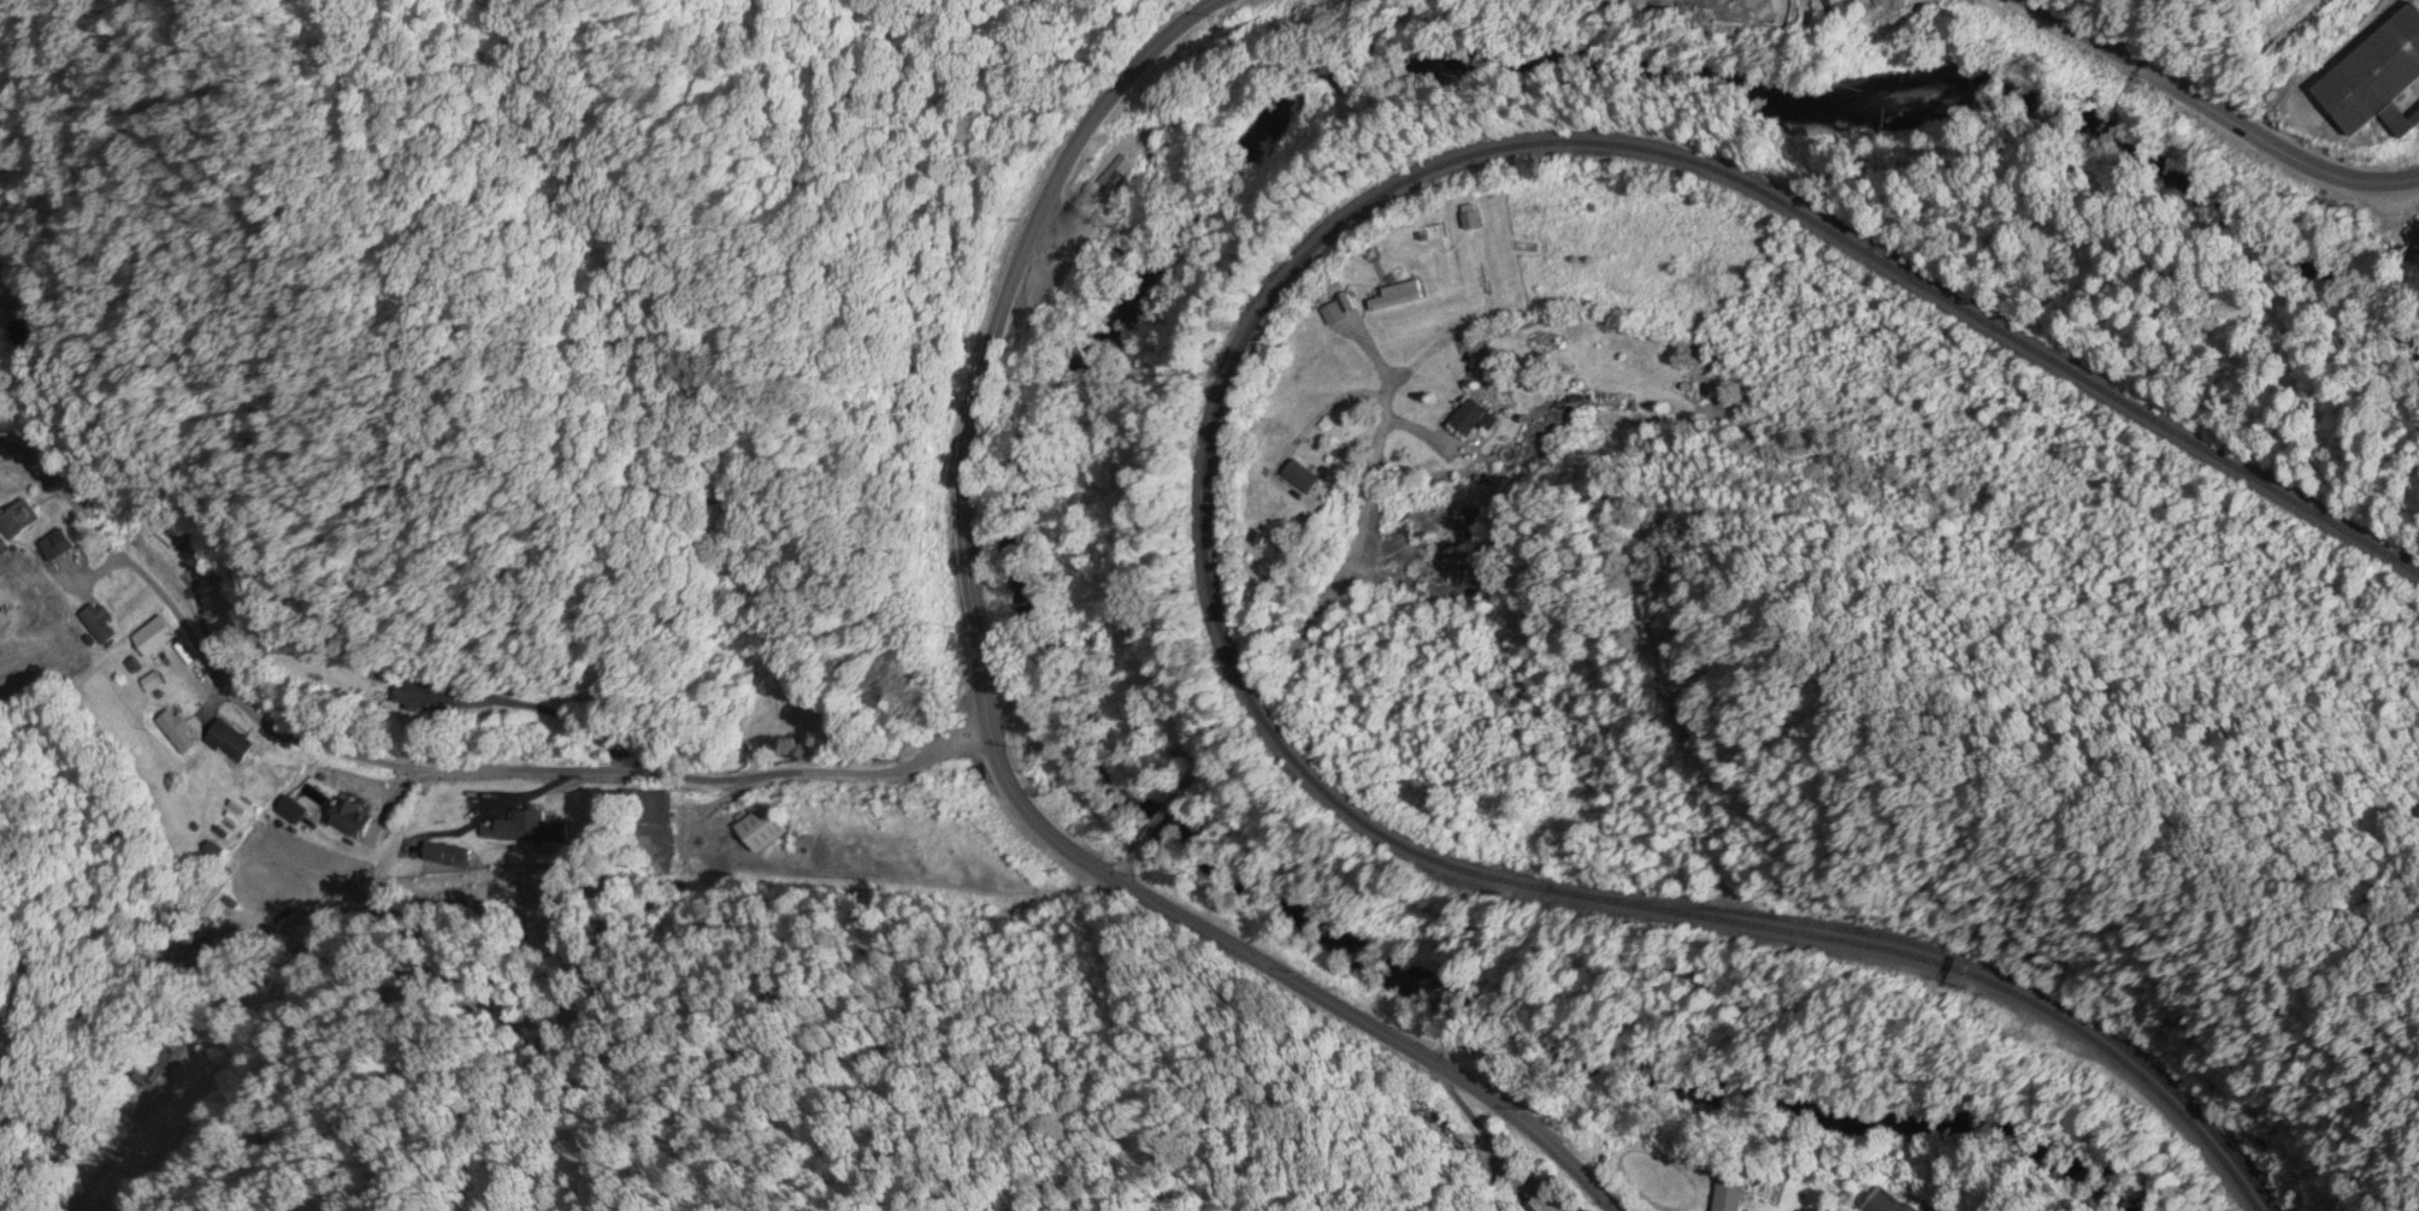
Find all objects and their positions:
building: (2377, 79)
road: (2214, 111)
building: (6, 234)
building: (1393, 299)
building: (43, 329)
road: (1320, 407)
building: (1473, 420)
railway: (1211, 432)
road: (1371, 455)
building: (1300, 478)
building: (16, 521)
building: (54, 548)
road: (1337, 580)
building: (96, 626)
building: (433, 697)
road: (990, 723)
building: (171, 733)
building: (226, 744)
road: (1200, 766)
road: (442, 769)
road: (1162, 819)
building: (348, 821)
building: (525, 832)
building: (760, 832)
building: (439, 858)
road: (1125, 866)
building: (1728, 1198)
building: (1889, 1204)
building: (1935, 1210)

